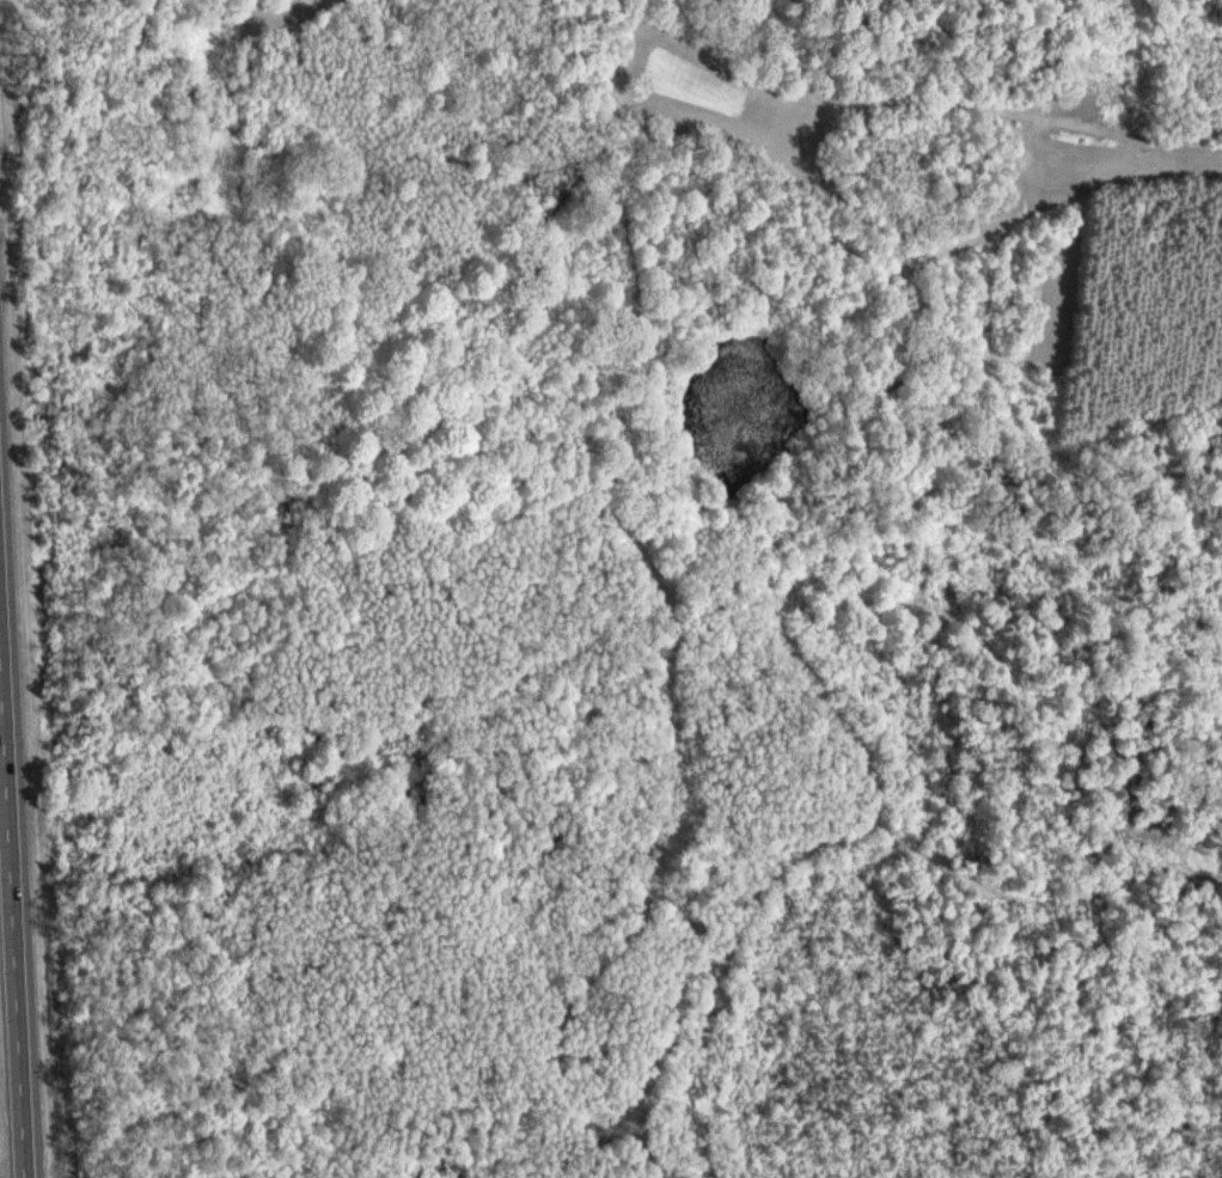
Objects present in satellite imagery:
road: (11, 941)

